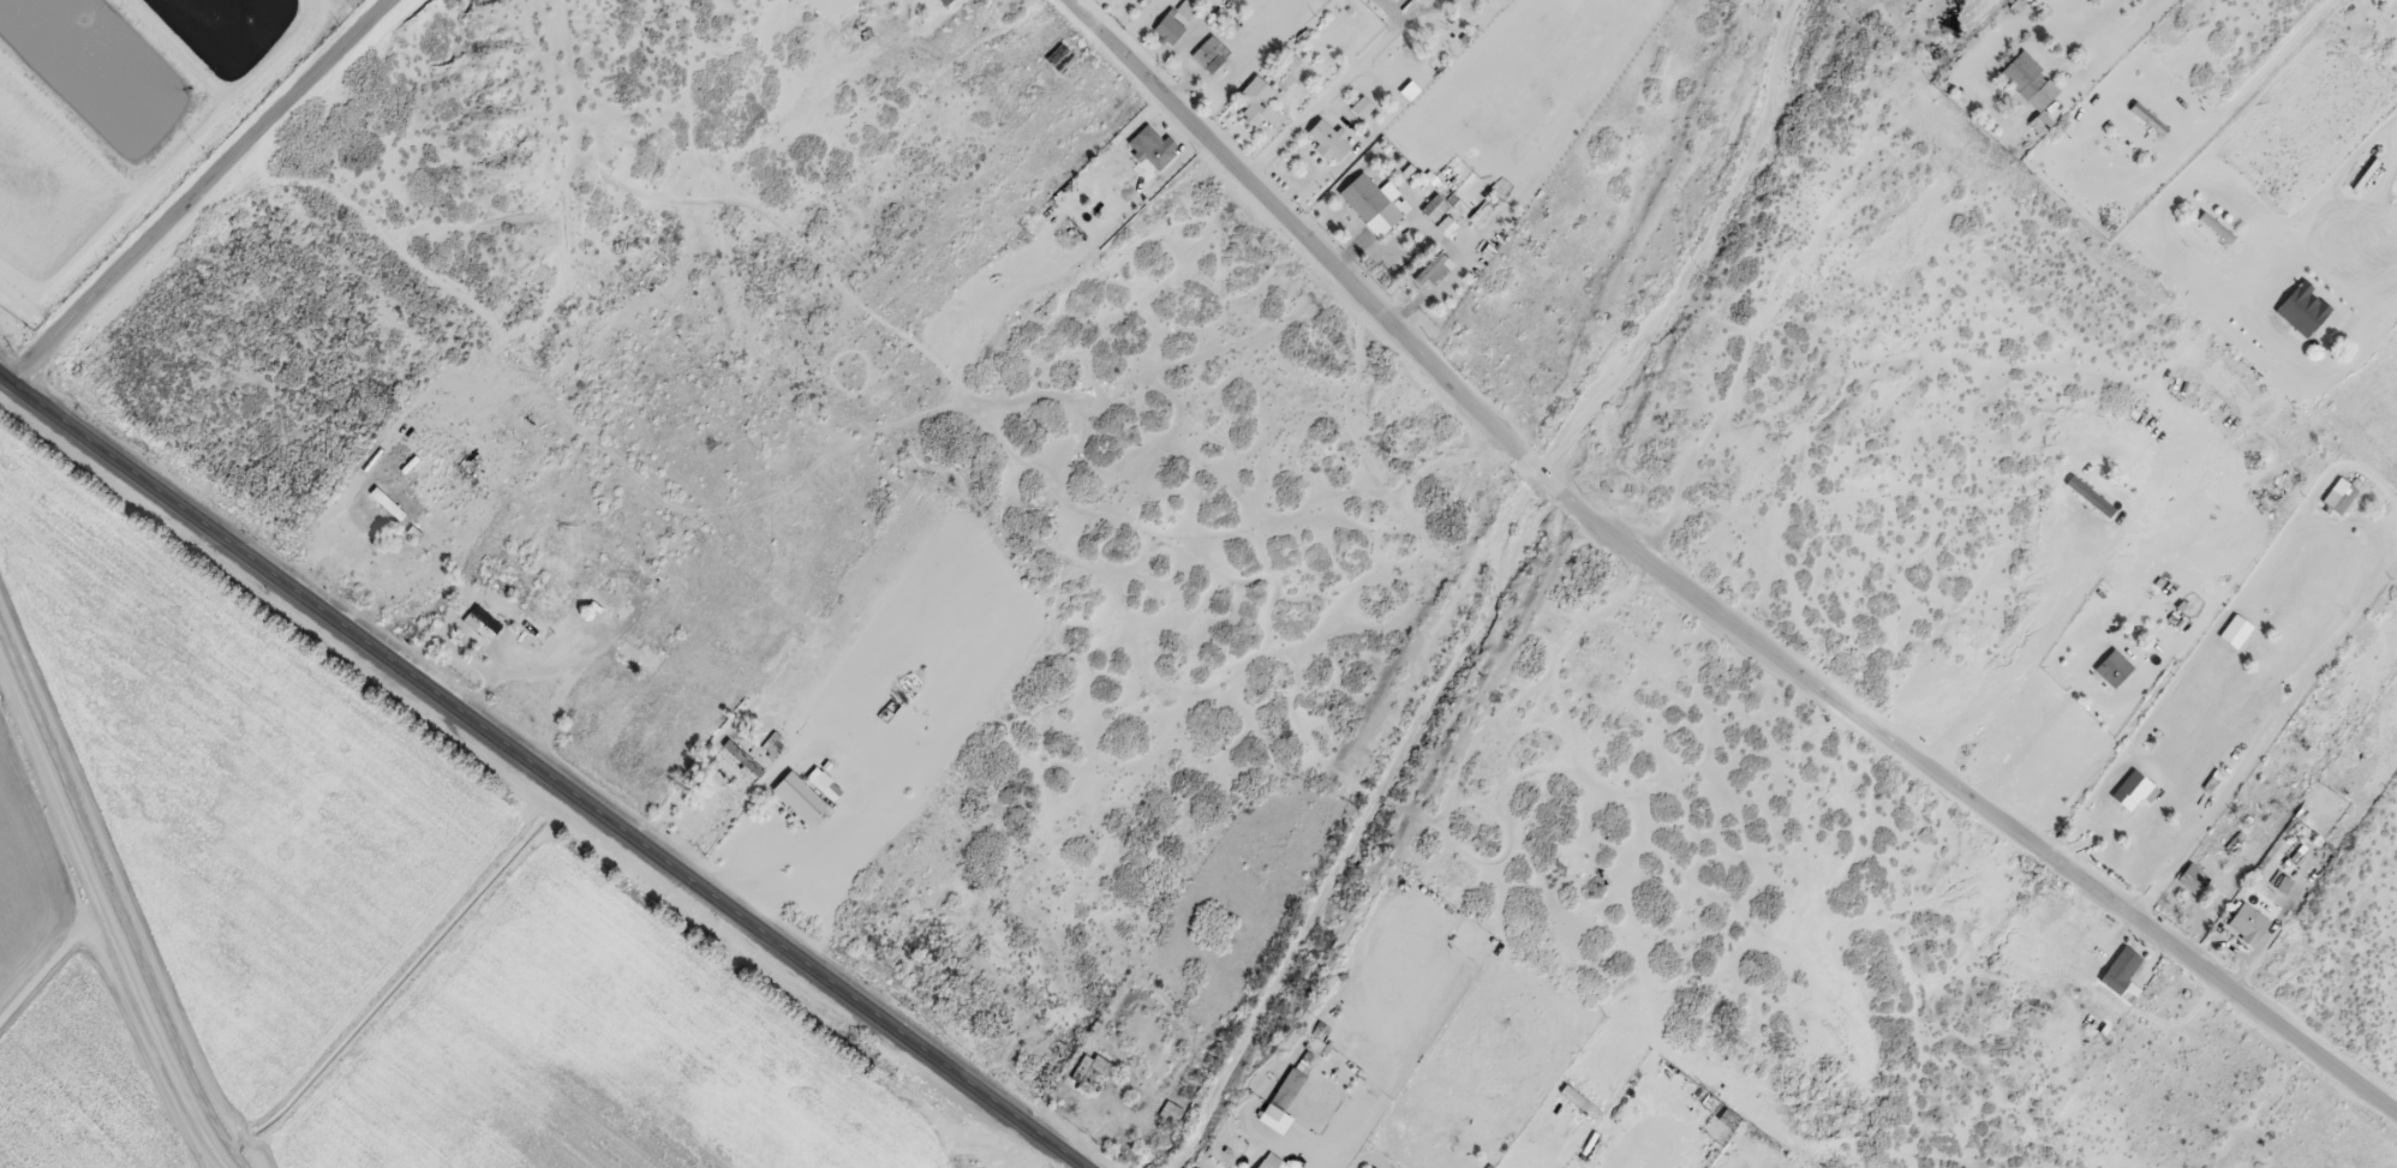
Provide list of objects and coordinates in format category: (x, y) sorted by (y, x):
building: (1168, 25)
building: (1211, 50)
building: (2024, 72)
building: (1257, 100)
building: (2040, 122)
building: (1328, 138)
building: (1158, 149)
road: (193, 192)
building: (1364, 193)
building: (1437, 202)
building: (1449, 220)
building: (2085, 492)
building: (2341, 493)
road: (1700, 597)
building: (2114, 663)
road: (2171, 679)
road: (537, 775)
building: (2133, 785)
building: (796, 797)
building: (2248, 922)
building: (2122, 965)
building: (1090, 1070)
building: (1289, 1085)
building: (1269, 1163)

